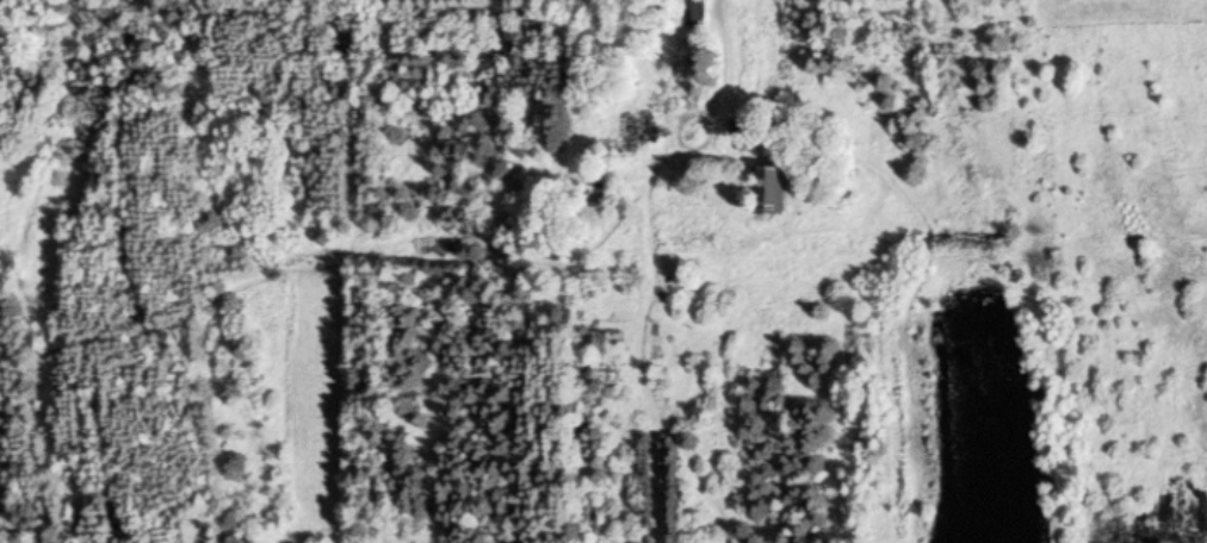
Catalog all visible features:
building: (633, 130)
building: (765, 193)

